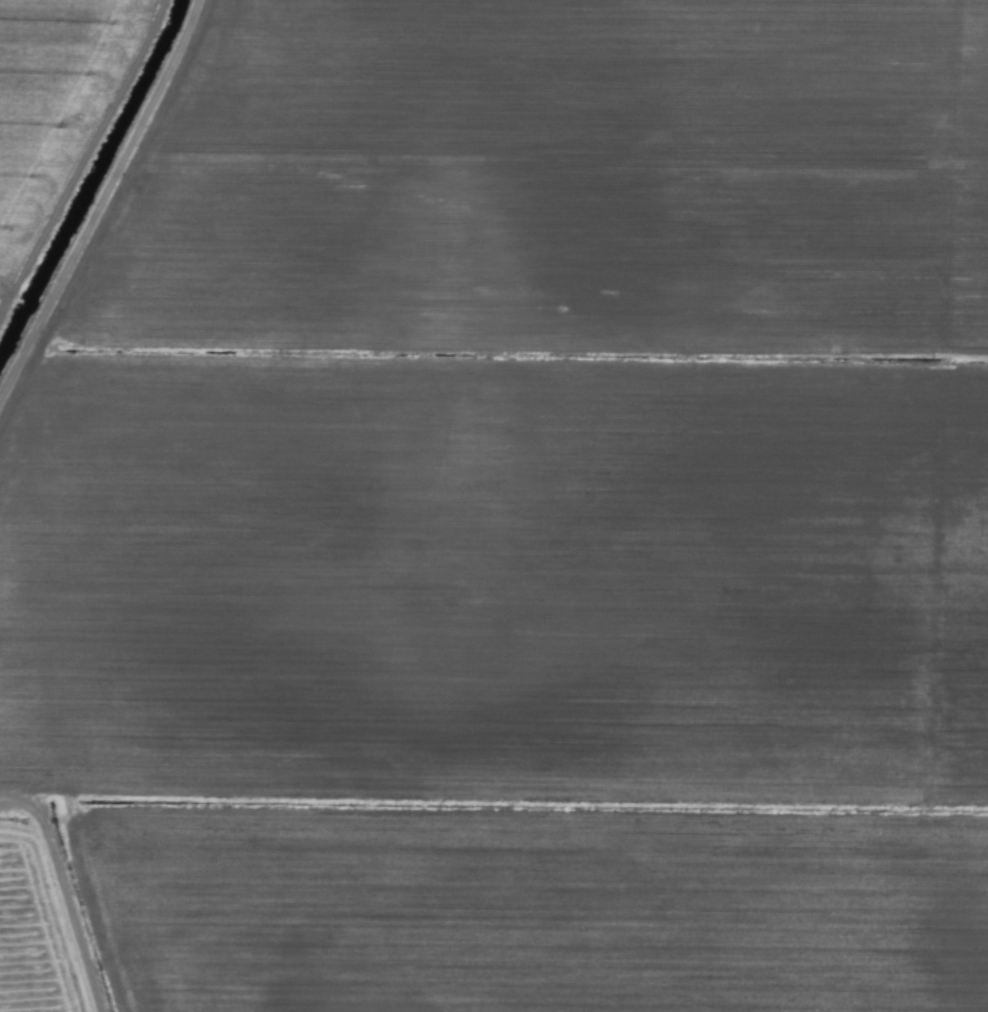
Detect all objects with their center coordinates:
crop: (494, 506)

